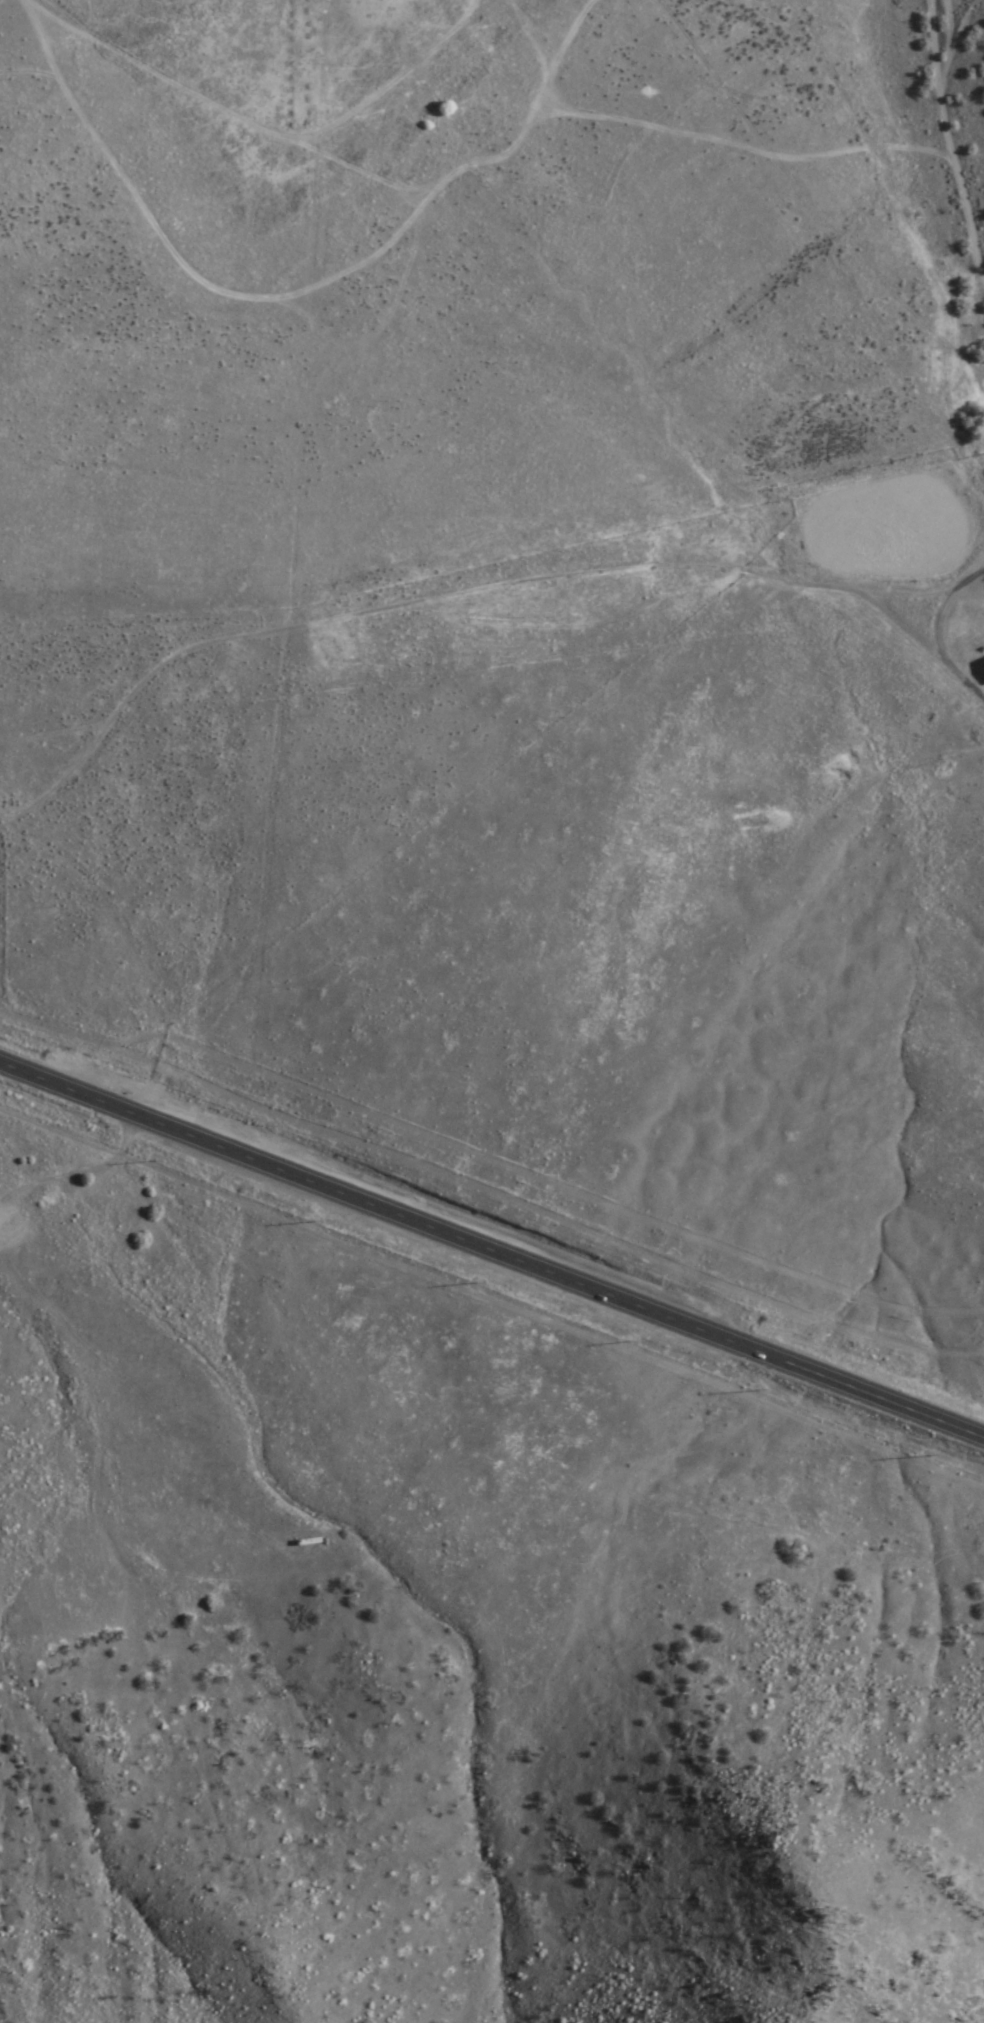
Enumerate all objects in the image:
road: (952, 139)
road: (492, 1250)

